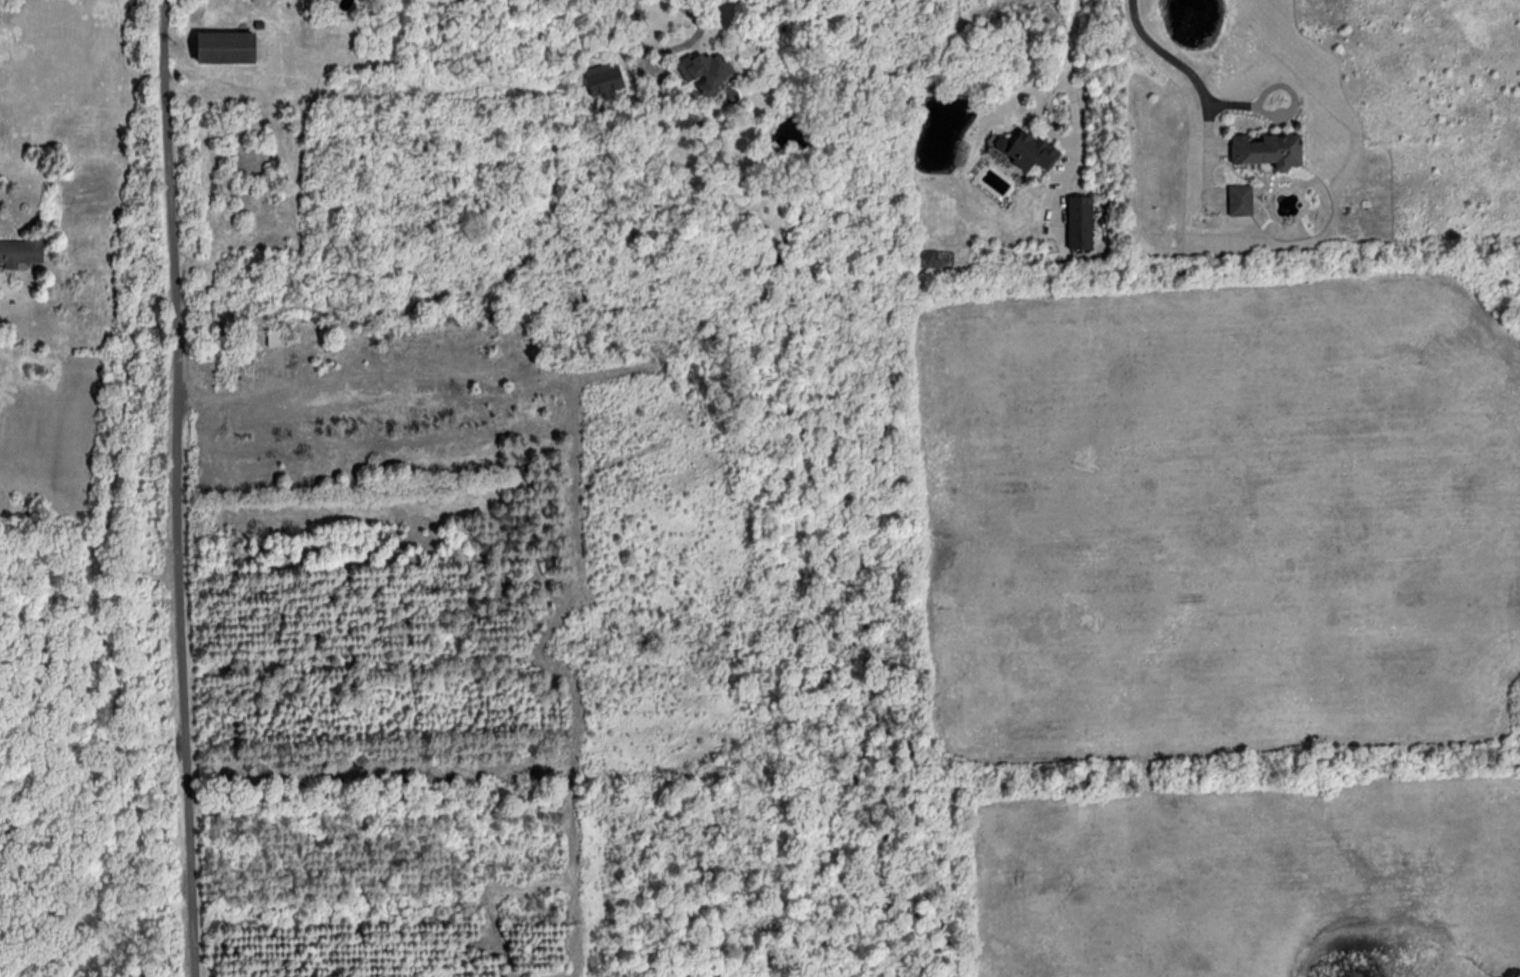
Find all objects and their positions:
building: (260, 24)
building: (225, 44)
road: (670, 49)
building: (705, 69)
road: (649, 78)
road: (1206, 96)
road: (1281, 116)
road: (1043, 117)
road: (1077, 125)
building: (1269, 148)
building: (1033, 150)
road: (1219, 150)
building: (1241, 200)
building: (1081, 221)
building: (23, 251)
building: (276, 337)
road: (116, 483)
road: (177, 488)
crop: (1220, 521)
road: (115, 722)
crop: (1247, 879)

